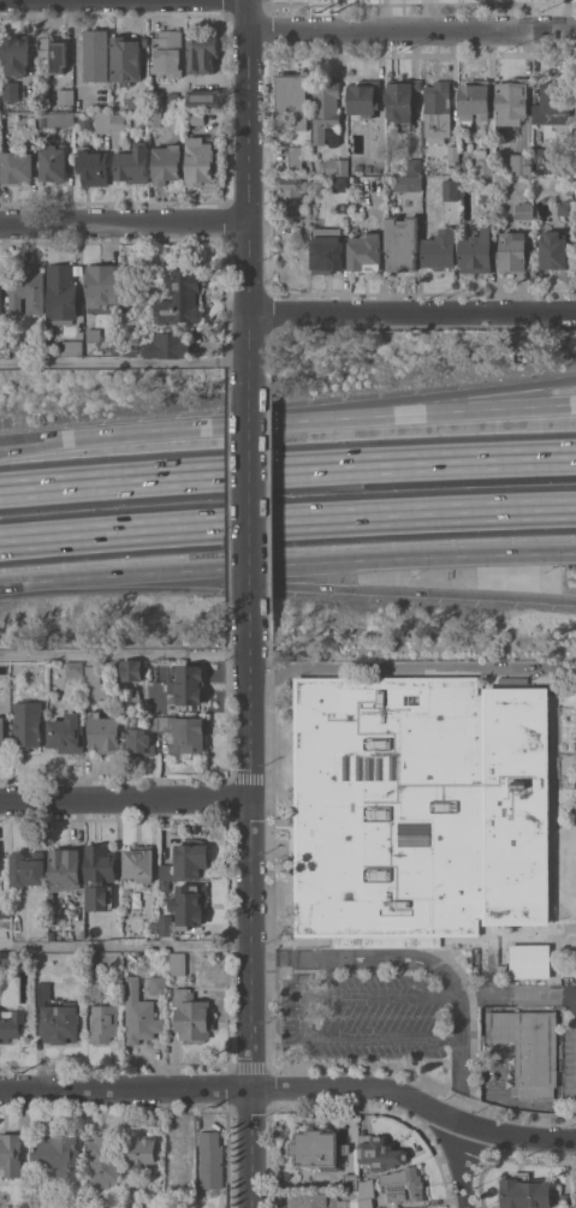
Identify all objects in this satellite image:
road: (412, 29)
building: (54, 53)
building: (167, 53)
building: (202, 54)
building: (16, 55)
building: (96, 55)
building: (125, 60)
building: (11, 91)
building: (292, 95)
building: (65, 96)
building: (203, 99)
building: (400, 99)
building: (364, 100)
building: (155, 101)
building: (474, 101)
building: (512, 101)
building: (136, 102)
building: (553, 103)
building: (437, 109)
building: (326, 113)
building: (196, 117)
building: (154, 118)
building: (60, 119)
building: (31, 120)
building: (102, 121)
building: (118, 123)
building: (43, 131)
building: (452, 153)
building: (198, 157)
building: (542, 157)
building: (295, 160)
building: (53, 162)
building: (482, 162)
building: (132, 163)
building: (166, 163)
building: (521, 163)
building: (16, 167)
building: (93, 167)
building: (320, 167)
building: (337, 167)
building: (415, 167)
building: (462, 167)
building: (501, 167)
building: (367, 168)
building: (376, 168)
road: (250, 183)
building: (338, 183)
building: (408, 183)
building: (450, 189)
building: (291, 191)
building: (487, 194)
building: (564, 208)
building: (523, 210)
road: (125, 224)
road: (271, 224)
building: (402, 243)
building: (327, 250)
building: (440, 250)
building: (552, 250)
building: (364, 252)
building: (476, 252)
building: (513, 254)
building: (101, 285)
building: (26, 290)
building: (0, 292)
building: (61, 292)
building: (180, 297)
road: (414, 311)
building: (91, 335)
building: (4, 341)
building: (18, 343)
building: (168, 345)
building: (71, 347)
road: (408, 400)
road: (408, 413)
road: (165, 429)
road: (46, 439)
road: (46, 442)
road: (287, 472)
road: (251, 488)
road: (287, 525)
road: (337, 564)
road: (67, 581)
road: (18, 584)
road: (18, 585)
road: (337, 589)
road: (126, 654)
road: (414, 666)
building: (73, 668)
building: (132, 671)
building: (188, 684)
building: (97, 685)
building: (571, 689)
building: (25, 725)
building: (2, 733)
building: (66, 733)
building: (103, 733)
building: (168, 736)
road: (125, 801)
building: (422, 808)
building: (190, 859)
building: (139, 863)
building: (26, 869)
building: (64, 869)
building: (166, 871)
building: (99, 876)
building: (189, 904)
road: (251, 908)
building: (5, 909)
building: (166, 926)
building: (153, 927)
road: (126, 942)
building: (5, 959)
building: (530, 962)
building: (177, 963)
road: (429, 963)
building: (158, 984)
building: (139, 1014)
road: (302, 1014)
building: (192, 1016)
building: (57, 1017)
building: (11, 1023)
building: (103, 1023)
building: (528, 1048)
road: (159, 1066)
road: (292, 1089)
building: (319, 1148)
building: (142, 1150)
building: (178, 1152)
building: (379, 1153)
building: (10, 1154)
building: (58, 1155)
building: (209, 1159)
building: (103, 1162)
road: (463, 1167)
building: (350, 1182)
building: (404, 1185)
building: (364, 1186)
building: (524, 1191)
building: (314, 1201)
building: (566, 1201)
building: (364, 1203)
building: (73, 1207)
building: (173, 1207)

